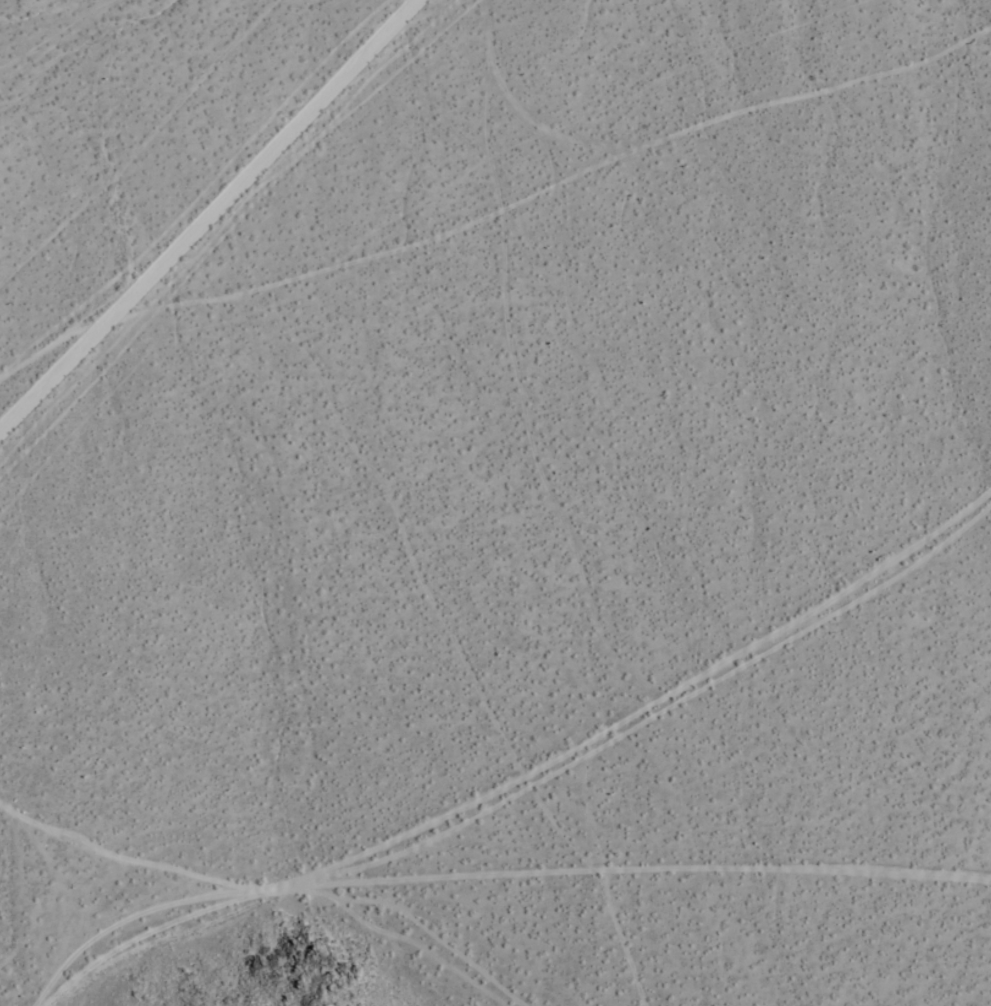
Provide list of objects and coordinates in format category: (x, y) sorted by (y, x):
road: (557, 186)
road: (218, 219)
road: (779, 630)
road: (481, 643)
road: (639, 862)
road: (287, 889)
road: (450, 918)

